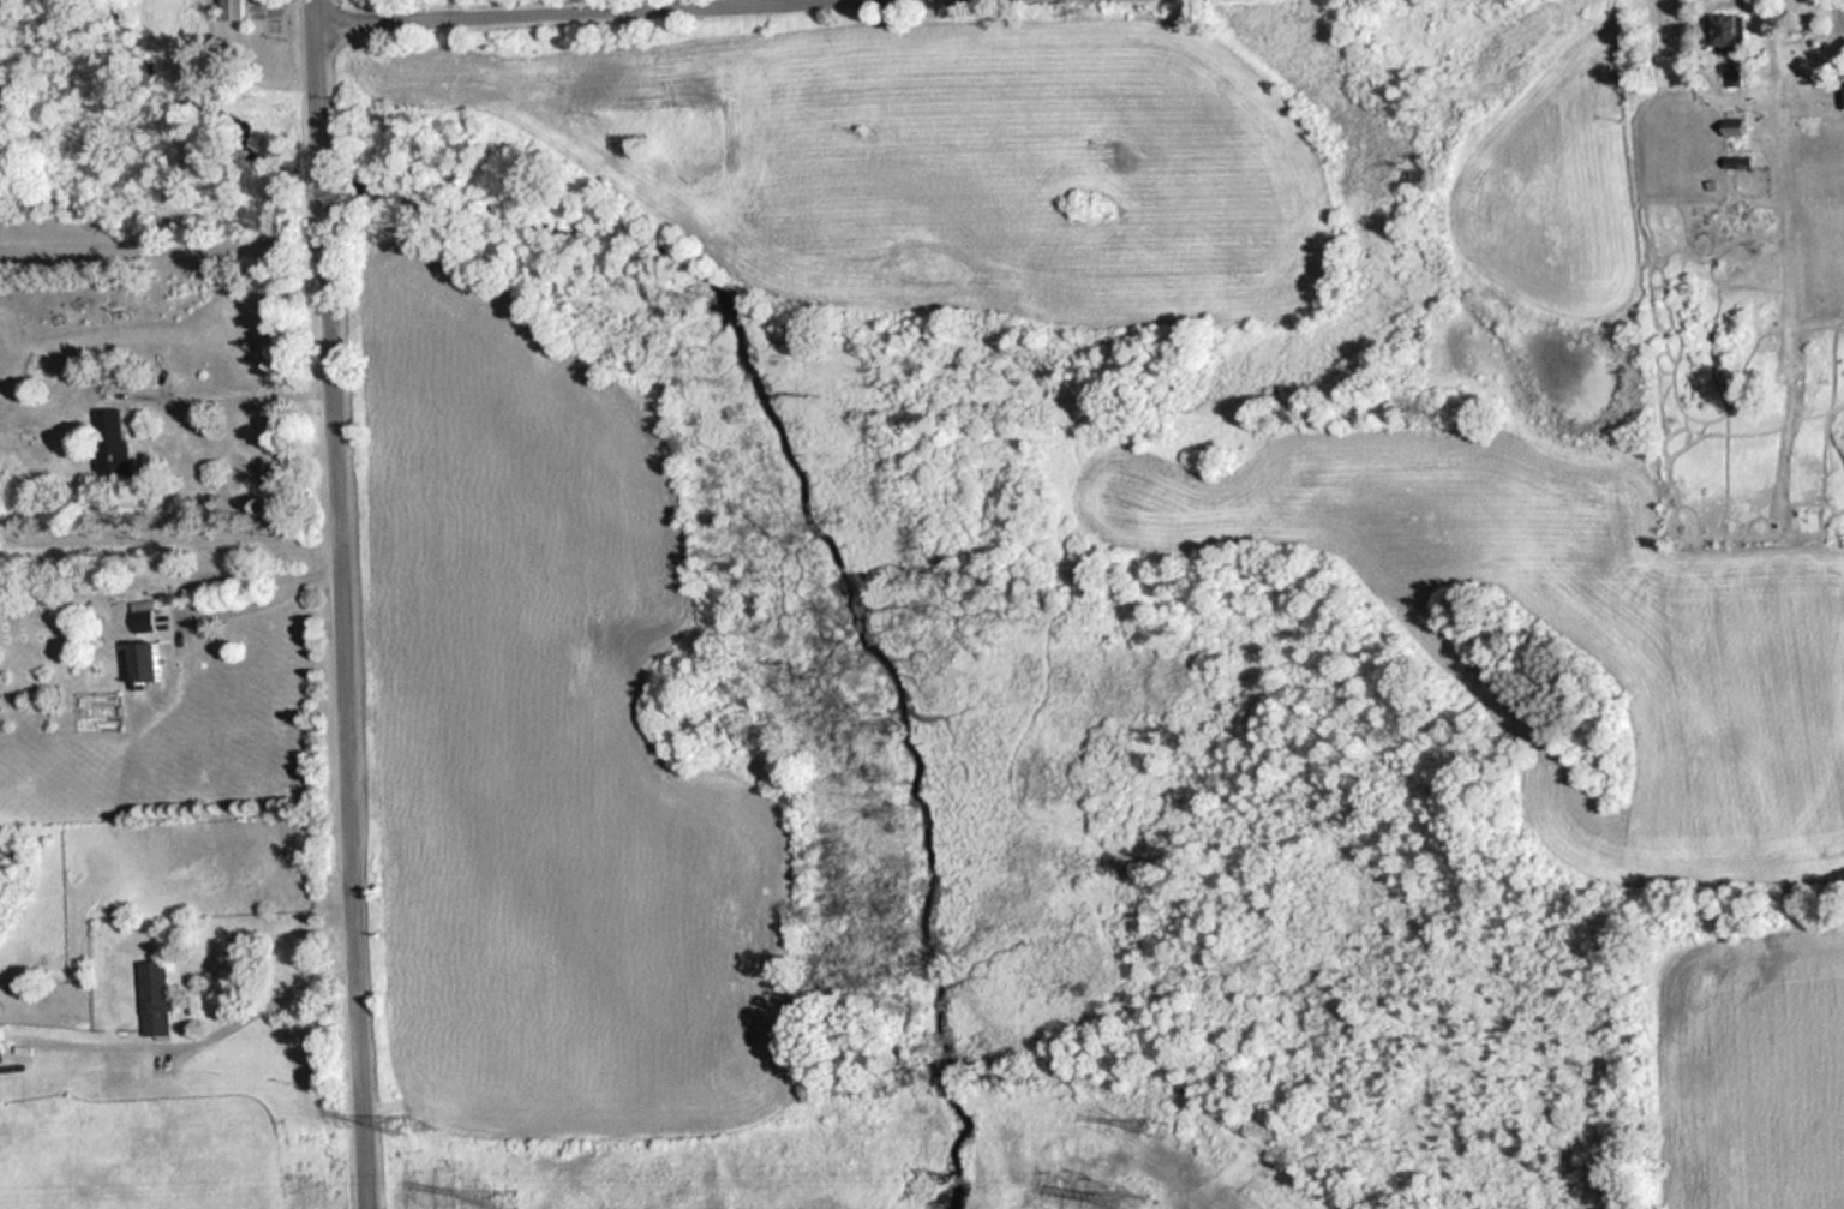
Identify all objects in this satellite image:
building: (238, 8)
road: (521, 8)
building: (1730, 34)
road: (163, 243)
road: (232, 397)
building: (116, 443)
road: (325, 570)
road: (184, 586)
road: (345, 604)
building: (146, 615)
building: (152, 662)
building: (155, 995)
road: (273, 999)
building: (0, 1042)
power tower: (397, 1123)
power tower: (1152, 1123)
power tower: (497, 1197)
power tower: (1132, 1199)

